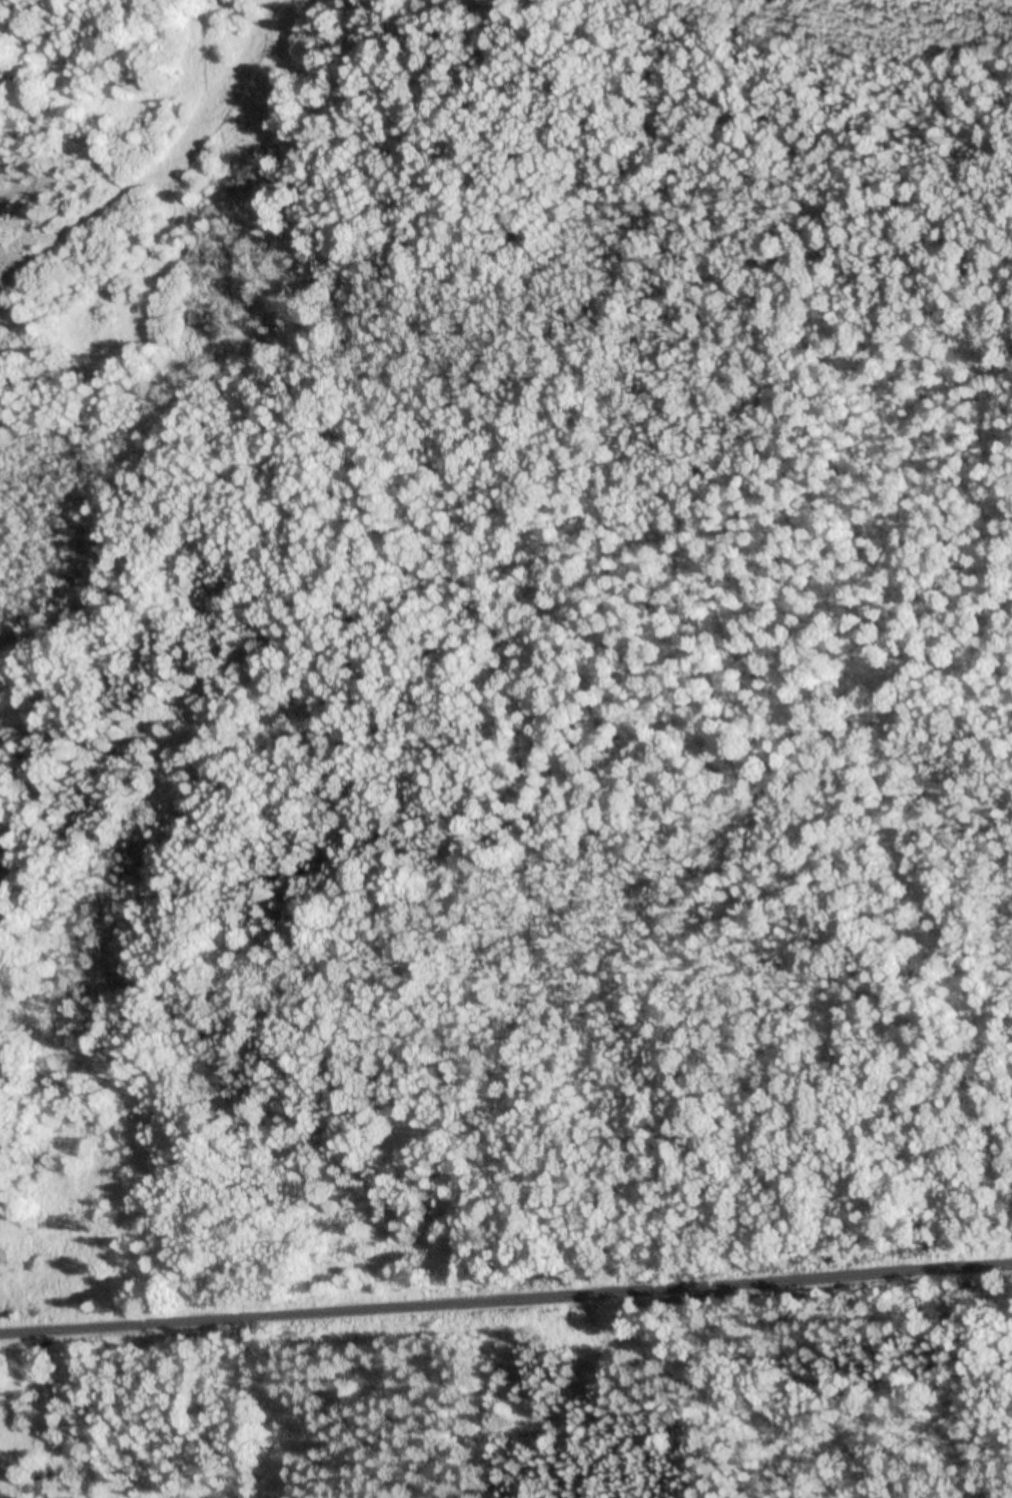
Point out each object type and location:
road: (506, 1304)

